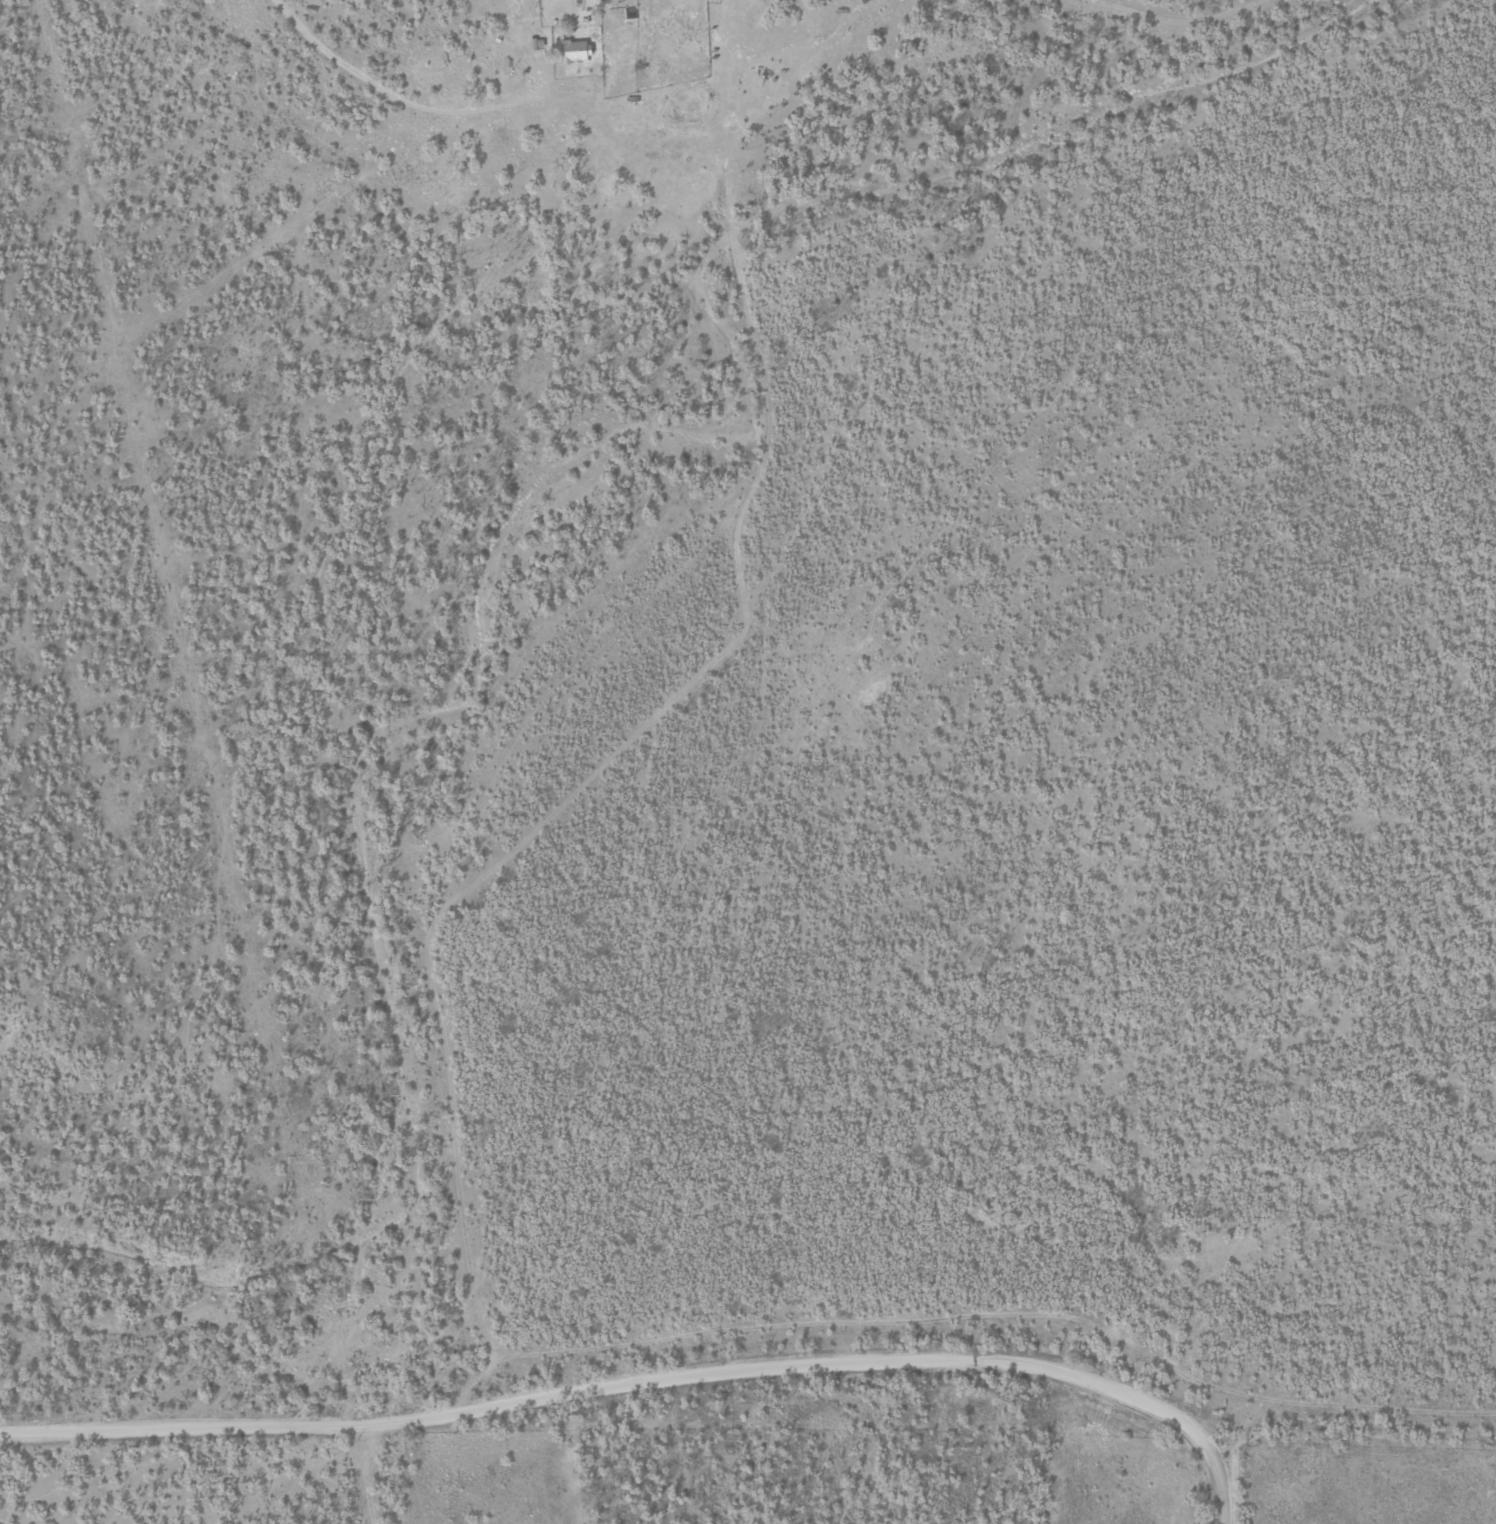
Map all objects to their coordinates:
building: (577, 51)
road: (541, 88)
road: (656, 1376)

